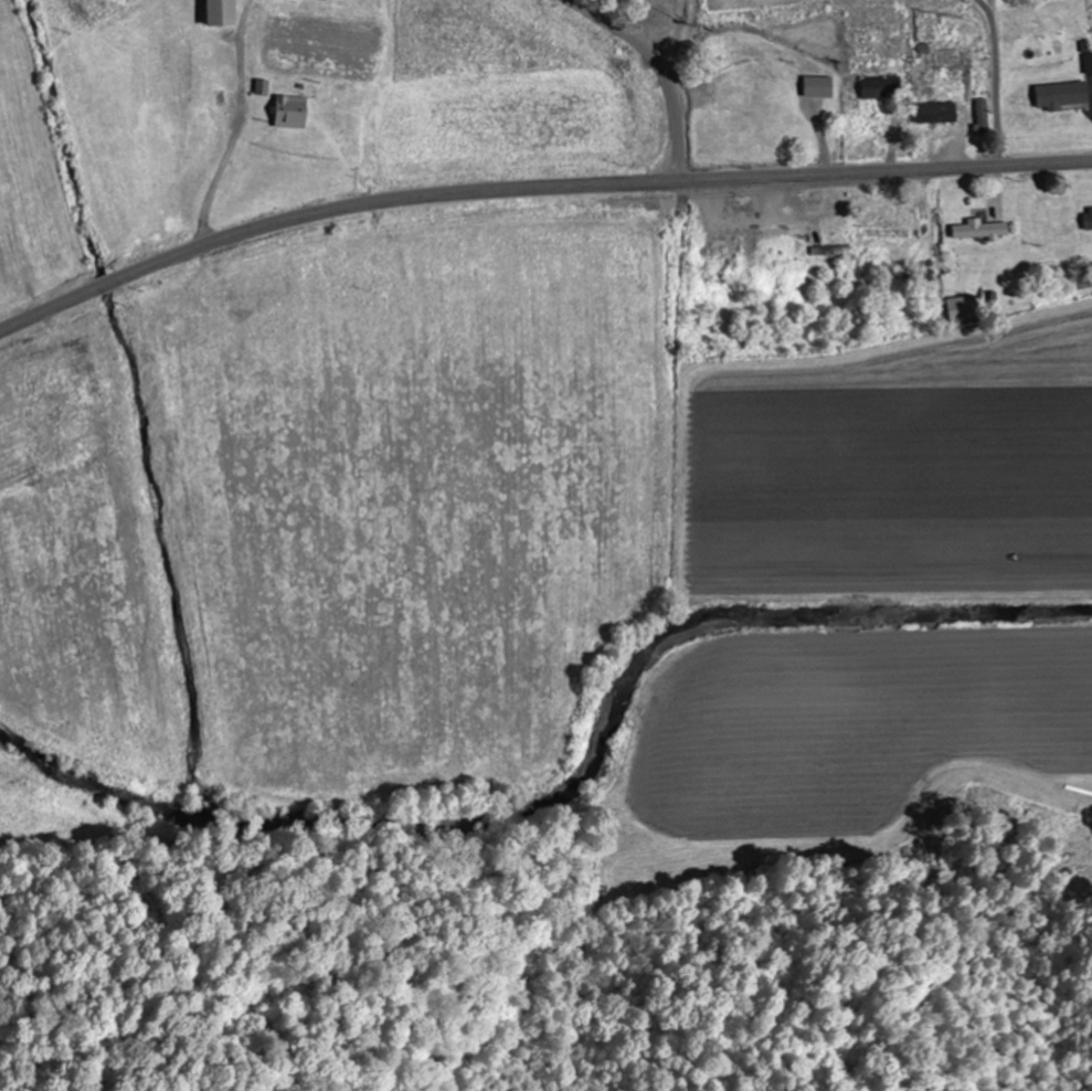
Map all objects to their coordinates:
building: (294, 0)
building: (327, 0)
building: (223, 13)
building: (1089, 63)
road: (664, 70)
road: (998, 80)
building: (821, 86)
building: (264, 87)
building: (883, 87)
building: (1062, 95)
building: (293, 112)
building: (939, 113)
building: (984, 113)
road: (534, 188)
building: (1089, 220)
building: (983, 230)
building: (965, 308)

